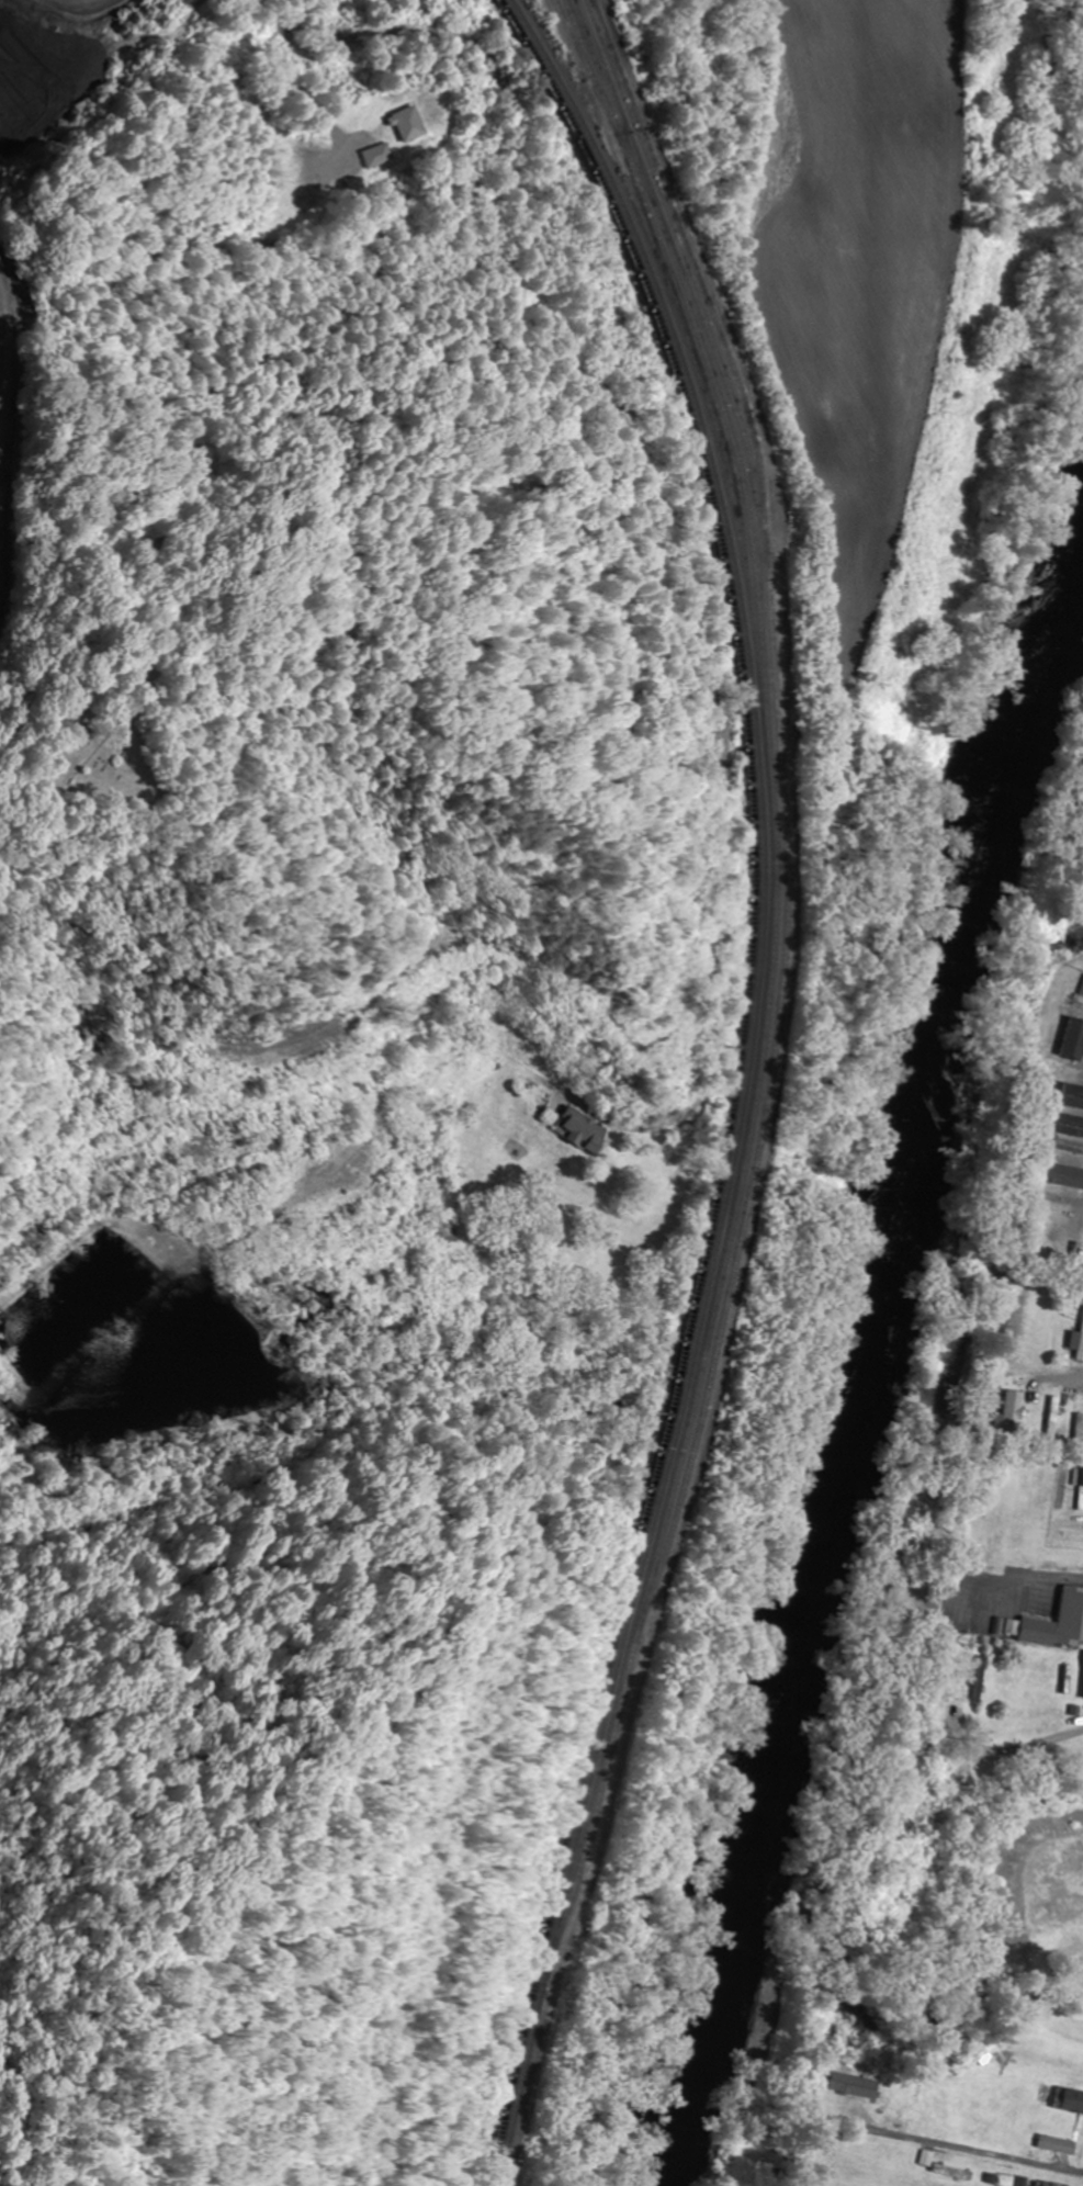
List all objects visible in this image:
building: (404, 125)
building: (374, 157)
railway: (719, 285)
road: (12, 455)
road: (659, 538)
road: (22, 799)
building: (1068, 1048)
building: (1074, 1070)
railway: (743, 1082)
building: (1072, 1101)
building: (587, 1131)
building: (1067, 1137)
building: (1068, 1157)
building: (1063, 1171)
building: (1061, 1187)
building: (448, 1229)
building: (1078, 1344)
river: (875, 1356)
building: (1012, 1412)
building: (1051, 1419)
building: (1078, 1431)
road: (1015, 1587)
building: (1057, 1625)
road: (1022, 1743)
building: (1079, 1970)
building: (853, 2087)
building: (1069, 2100)
building: (1057, 2145)
building: (1051, 2184)

